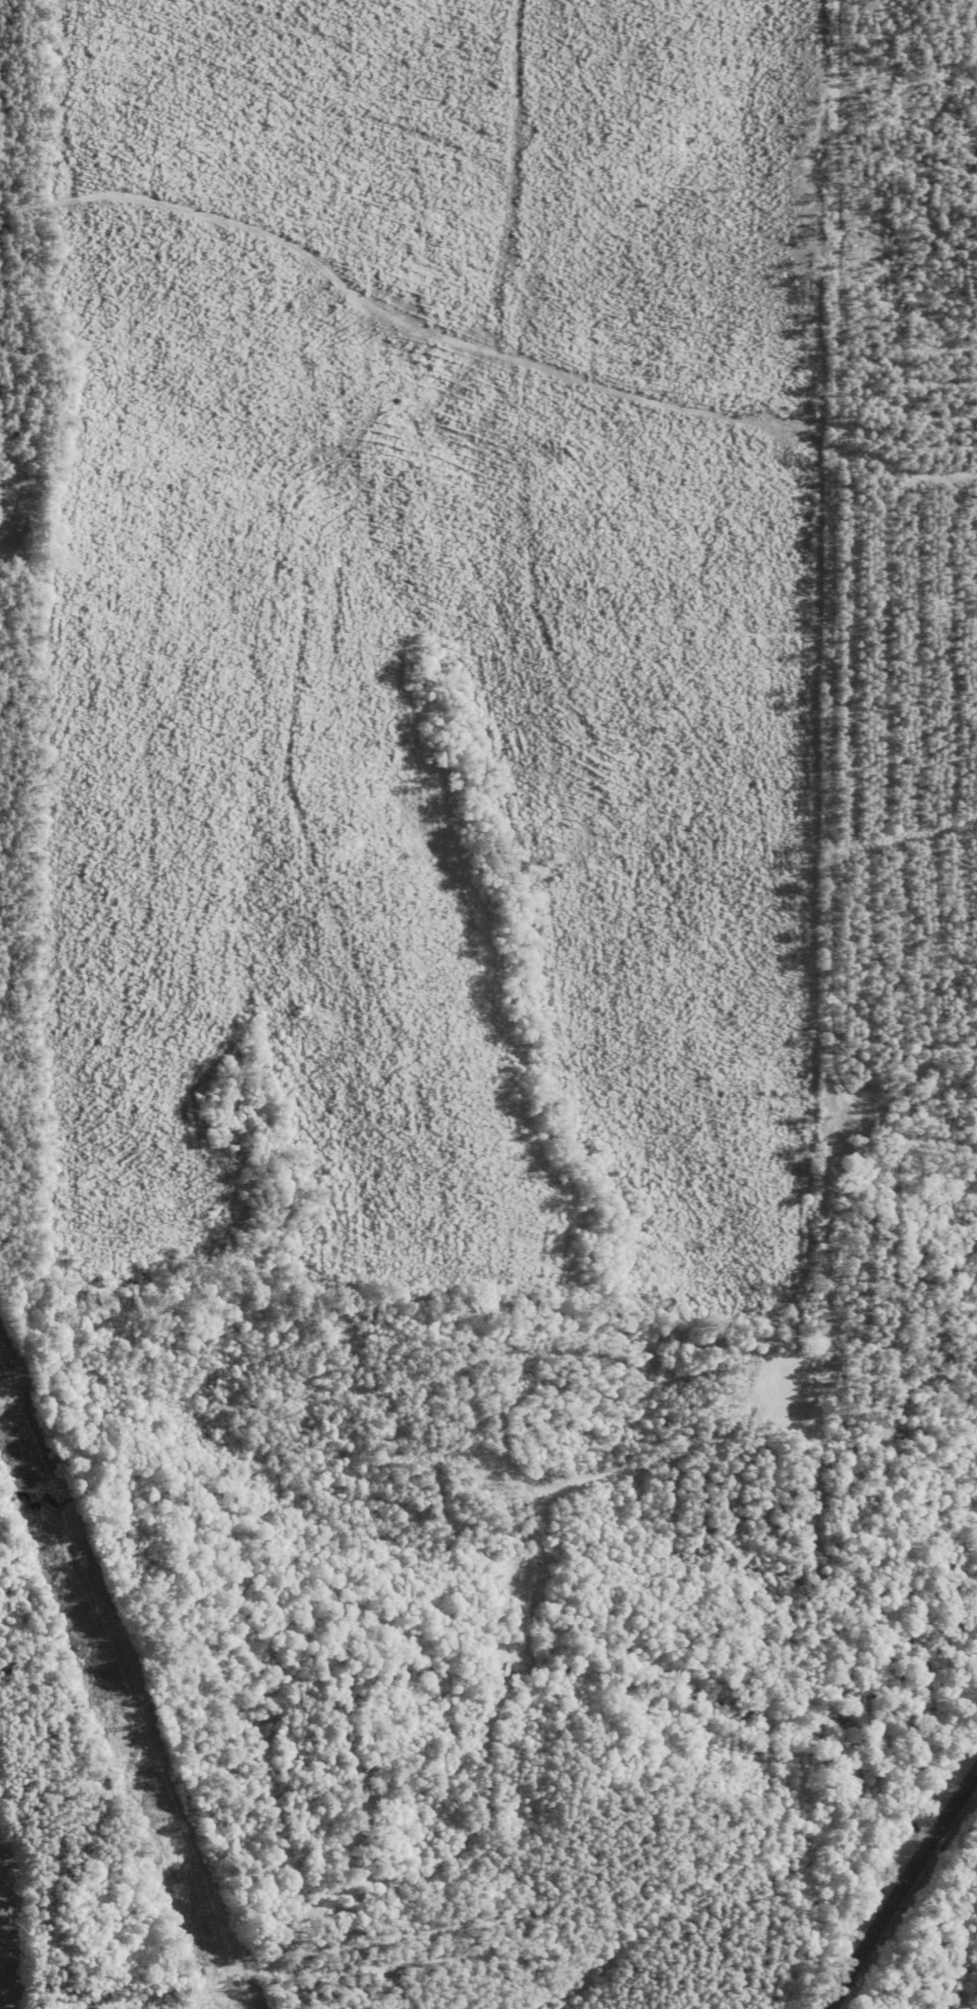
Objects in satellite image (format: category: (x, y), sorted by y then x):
road: (901, 1892)

